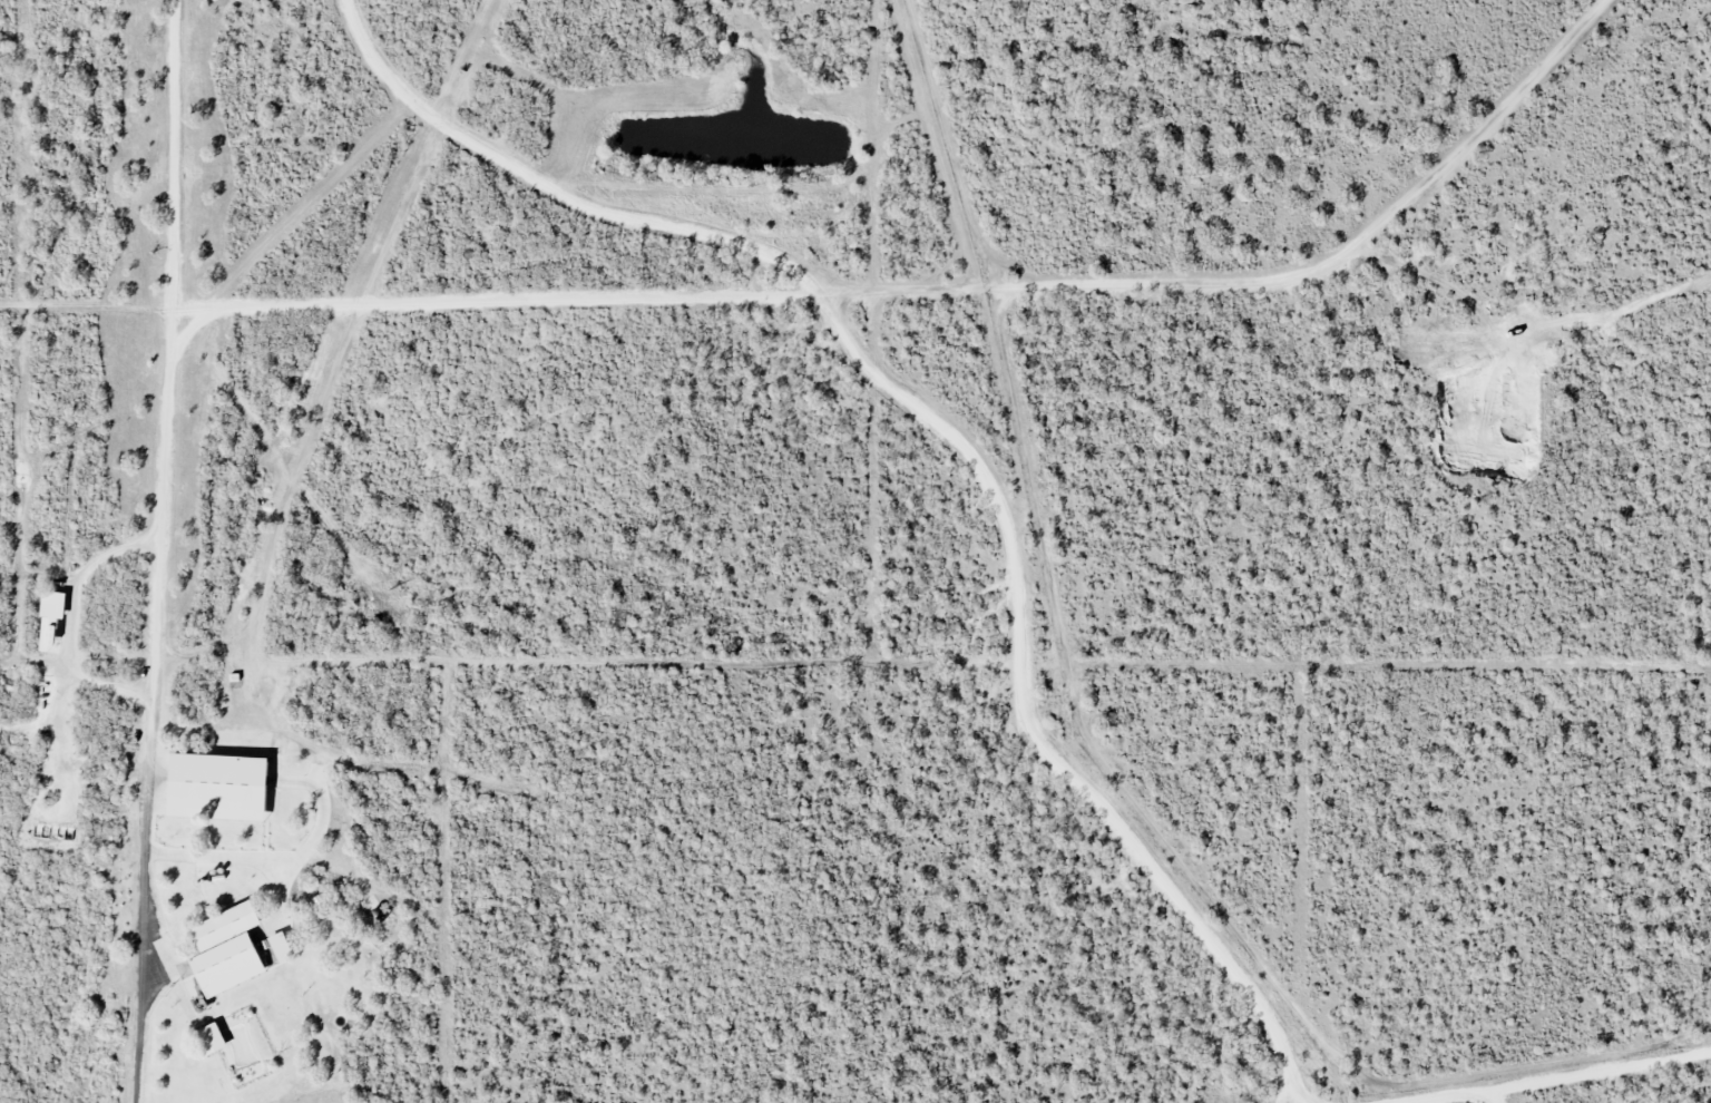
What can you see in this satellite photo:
road: (176, 269)
road: (950, 440)
building: (49, 617)
road: (154, 638)
building: (215, 783)
road: (143, 921)
building: (224, 948)
building: (207, 1037)
road: (1597, 1078)
road: (1445, 1100)

